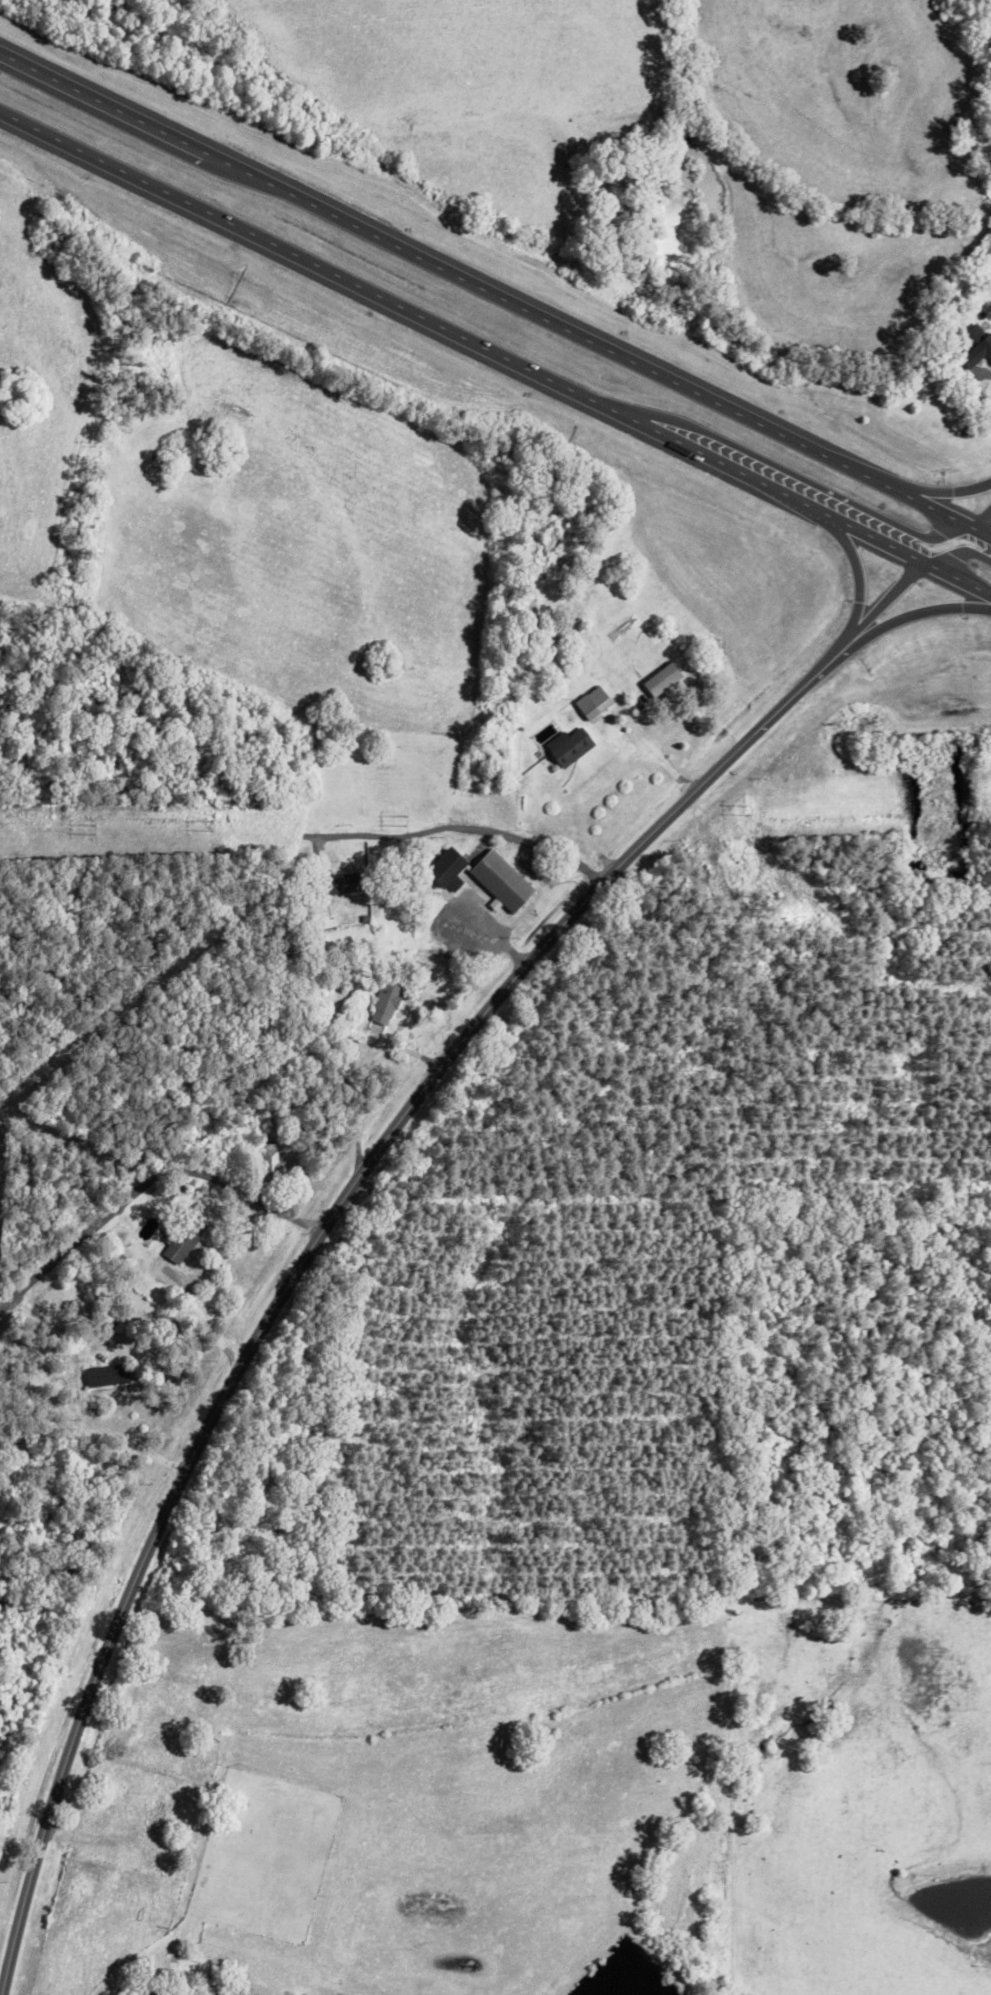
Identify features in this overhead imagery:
road: (437, 269)
road: (464, 340)
building: (978, 344)
road: (795, 475)
road: (933, 491)
road: (934, 508)
road: (981, 517)
road: (960, 551)
road: (858, 572)
road: (960, 579)
road: (917, 614)
building: (664, 680)
building: (596, 702)
building: (573, 745)
road: (650, 749)
road: (538, 848)
building: (450, 866)
building: (505, 881)
building: (348, 882)
building: (387, 1001)
building: (271, 1159)
road: (145, 1186)
road: (340, 1199)
building: (178, 1245)
road: (203, 1316)
building: (109, 1375)
road: (135, 1445)

